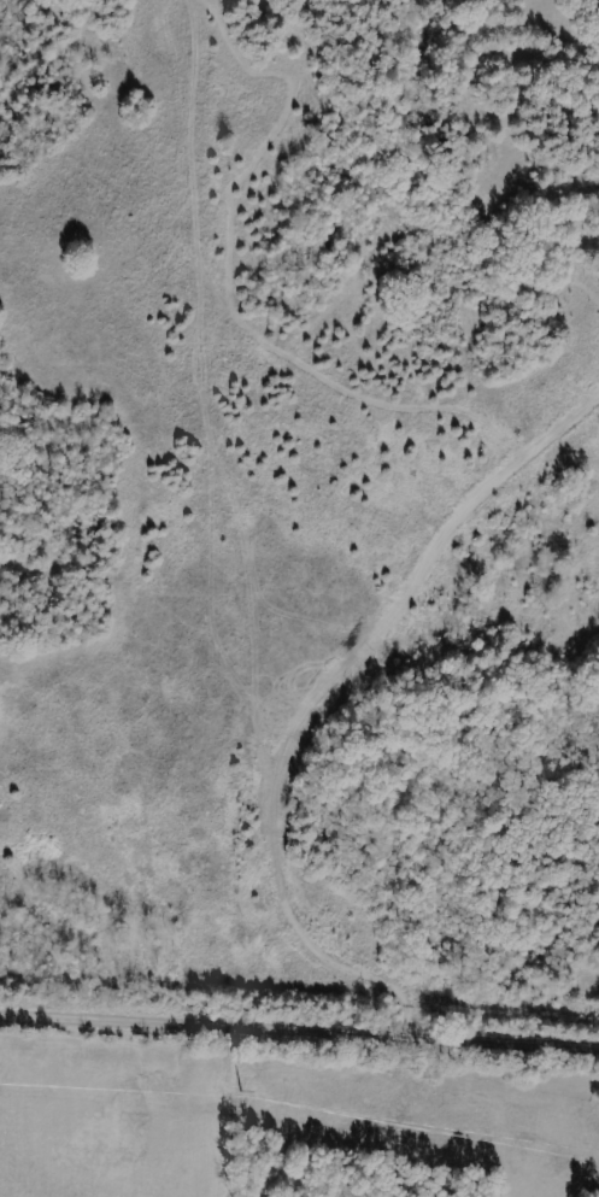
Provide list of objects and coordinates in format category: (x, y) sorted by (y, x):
road: (300, 1010)

